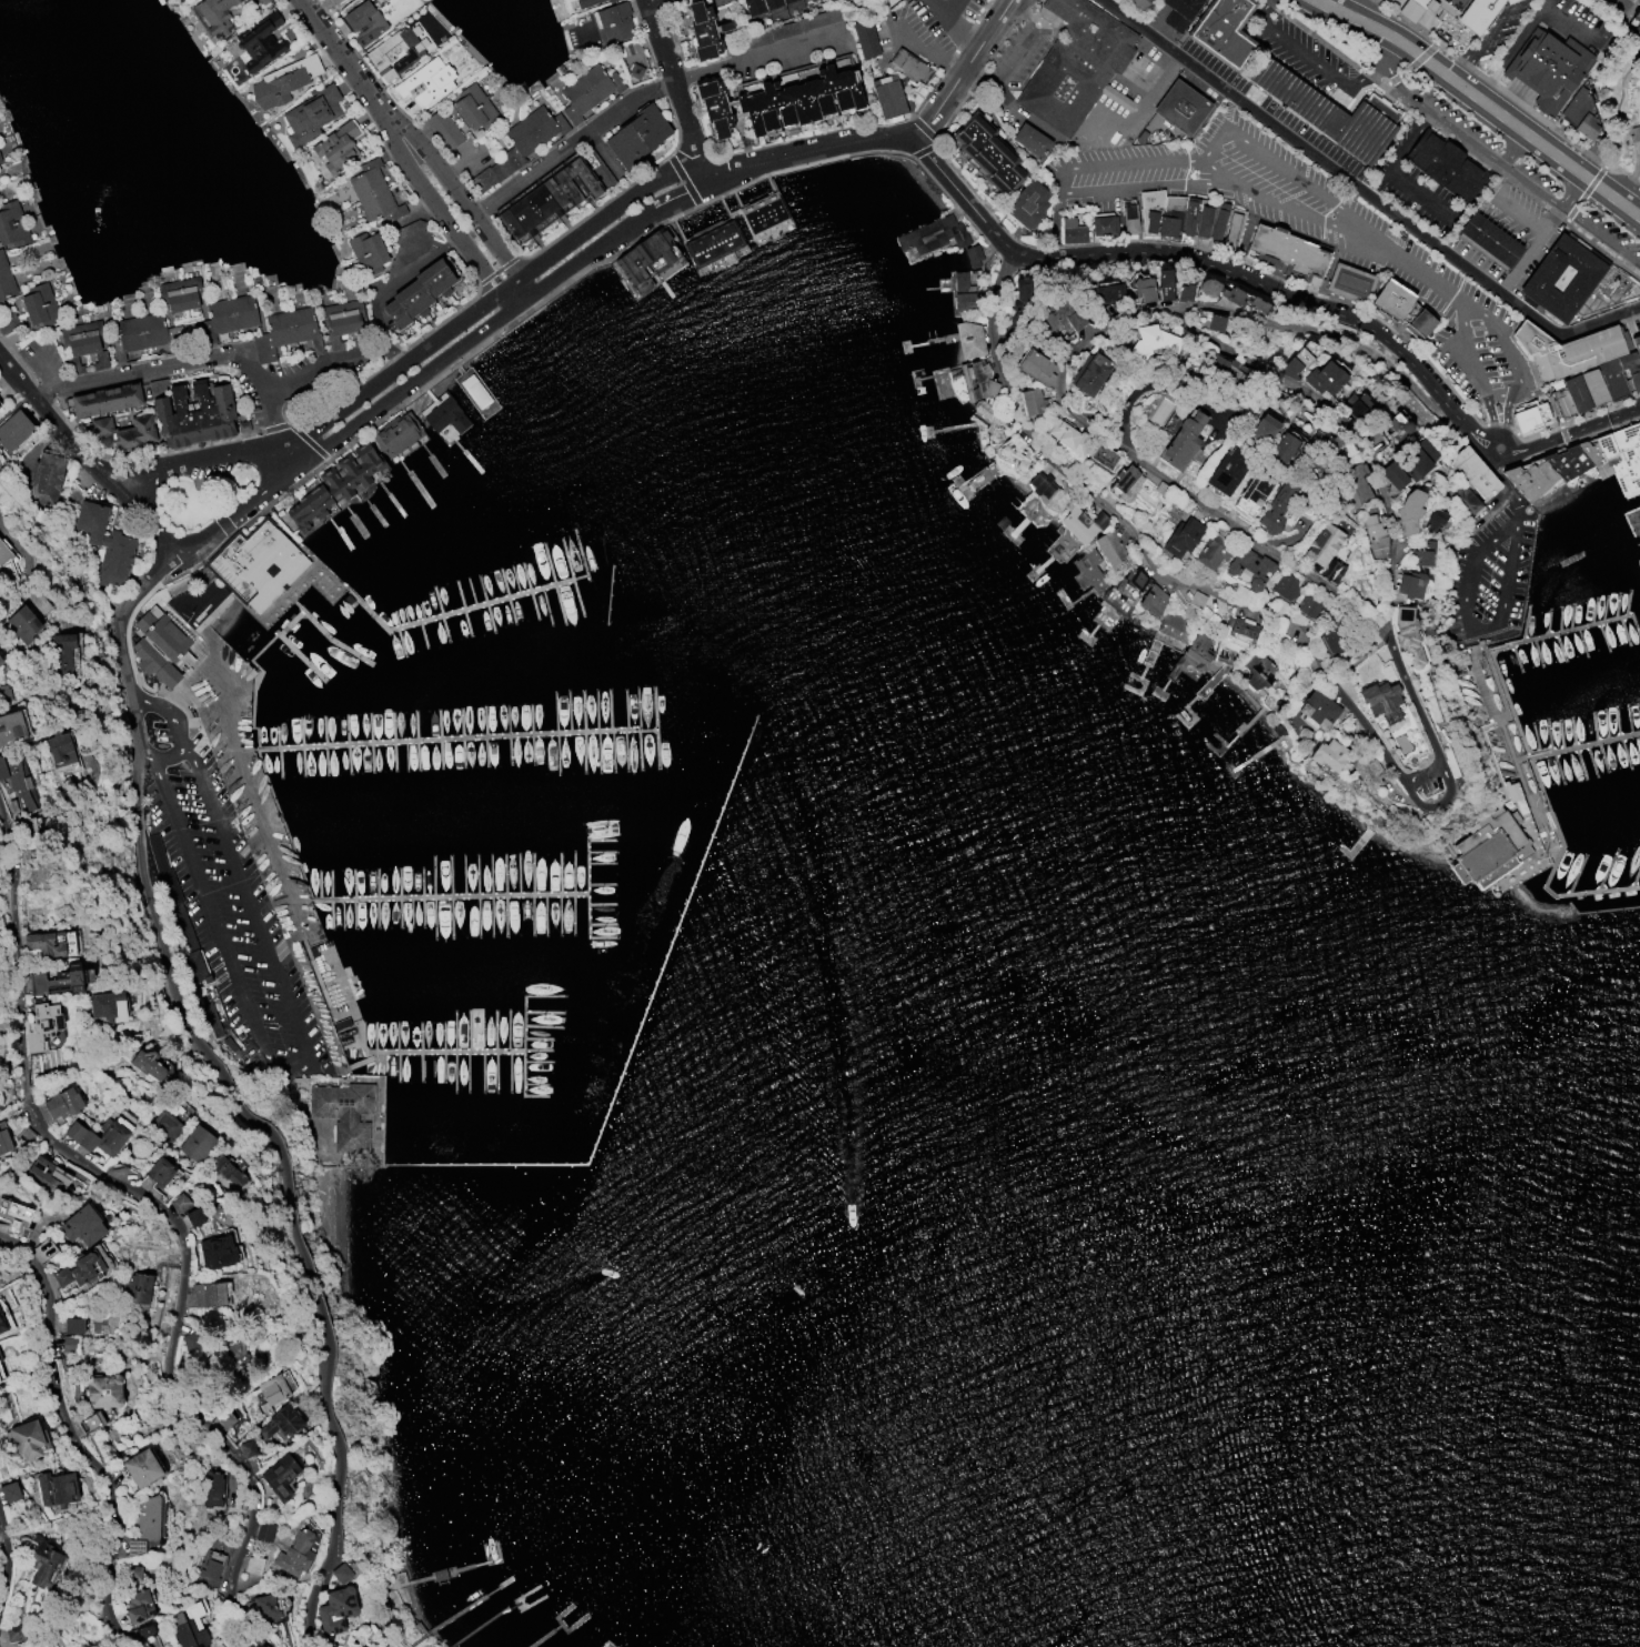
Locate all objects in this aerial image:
building: (607, 0)
building: (262, 1)
building: (334, 1)
road: (1508, 2)
building: (584, 3)
road: (660, 3)
building: (1136, 4)
building: (761, 6)
road: (1618, 6)
road: (947, 7)
building: (1463, 11)
building: (1179, 12)
road: (1342, 12)
building: (214, 16)
building: (1637, 20)
building: (364, 21)
building: (612, 23)
road: (953, 24)
road: (1526, 24)
building: (704, 31)
building: (1223, 31)
building: (1639, 37)
building: (864, 39)
road: (1478, 41)
building: (259, 42)
road: (1378, 44)
road: (1411, 50)
building: (393, 53)
road: (920, 53)
road: (748, 57)
road: (1012, 59)
road: (1245, 60)
road: (1307, 60)
railway: (1552, 60)
road: (348, 62)
building: (1074, 64)
building: (907, 67)
building: (1547, 68)
building: (634, 71)
building: (283, 80)
building: (425, 82)
road: (675, 87)
road: (1462, 88)
building: (586, 91)
building: (888, 98)
building: (799, 100)
building: (714, 107)
road: (1138, 107)
building: (474, 108)
building: (1180, 108)
road: (1228, 111)
building: (1321, 111)
building: (311, 113)
building: (1580, 113)
road: (1499, 114)
road: (1437, 119)
building: (443, 130)
building: (636, 137)
road: (893, 139)
building: (1030, 140)
road: (570, 142)
road: (1214, 144)
building: (519, 145)
road: (1512, 149)
building: (333, 150)
building: (988, 153)
road: (1552, 153)
road: (1613, 158)
building: (0, 160)
building: (0, 161)
building: (1445, 165)
road: (1507, 170)
road: (1387, 171)
road: (1062, 185)
road: (1536, 190)
road: (1570, 191)
building: (372, 192)
building: (556, 192)
road: (959, 194)
road: (1364, 194)
road: (1610, 195)
road: (459, 197)
building: (1026, 204)
building: (1149, 210)
road: (437, 214)
building: (763, 215)
building: (1170, 215)
building: (1188, 217)
building: (1128, 219)
building: (1203, 221)
building: (1218, 221)
building: (11, 224)
building: (1104, 225)
building: (534, 229)
building: (1232, 229)
parking lot: (1308, 230)
road: (1532, 230)
building: (1071, 231)
building: (933, 235)
road: (1599, 237)
building: (1488, 240)
building: (409, 241)
building: (711, 243)
building: (1287, 251)
building: (366, 252)
building: (972, 255)
building: (644, 257)
road: (1397, 260)
building: (1572, 280)
building: (1350, 282)
road: (394, 284)
building: (1164, 284)
road: (1274, 288)
building: (1141, 290)
road: (514, 292)
building: (1107, 292)
building: (1183, 292)
building: (180, 293)
building: (417, 293)
building: (964, 293)
road: (491, 294)
building: (1230, 295)
building: (4, 297)
building: (1391, 299)
building: (39, 304)
building: (231, 313)
building: (1062, 318)
building: (341, 321)
building: (1420, 321)
building: (1214, 323)
building: (141, 331)
building: (285, 332)
building: (968, 340)
building: (1153, 341)
building: (82, 344)
building: (1637, 345)
road: (1505, 347)
road: (201, 360)
road: (333, 361)
road: (441, 361)
building: (1295, 363)
building: (1581, 365)
building: (1035, 366)
road: (1473, 366)
building: (1227, 370)
road: (44, 371)
pier: (461, 373)
building: (1089, 373)
building: (1324, 378)
building: (976, 379)
building: (476, 394)
building: (105, 399)
building: (1030, 401)
building: (1356, 404)
building: (0, 406)
building: (191, 413)
road: (1503, 413)
building: (443, 414)
building: (1528, 414)
road: (1070, 419)
road: (54, 421)
building: (1396, 428)
building: (1261, 429)
building: (14, 430)
road: (1572, 430)
road: (1347, 431)
building: (123, 432)
building: (396, 435)
building: (1068, 439)
road: (1499, 439)
building: (1183, 441)
building: (1321, 443)
building: (1284, 445)
building: (1103, 456)
road: (193, 460)
building: (1417, 460)
building: (1582, 464)
building: (1227, 470)
building: (1472, 471)
building: (1392, 475)
building: (44, 479)
pier: (1628, 480)
building: (1124, 482)
building: (1352, 484)
building: (334, 485)
building: (1046, 492)
building: (1250, 494)
building: (1463, 499)
building: (1276, 509)
building: (1408, 510)
road: (141, 519)
pier: (1632, 520)
building: (1437, 521)
building: (1081, 524)
building: (1181, 536)
building: (1372, 536)
pier: (1639, 538)
road: (1491, 541)
building: (103, 543)
building: (1321, 544)
building: (1109, 549)
building: (1213, 551)
building: (1422, 554)
building: (7, 562)
building: (255, 563)
building: (1248, 568)
building: (1090, 571)
road: (1164, 575)
parking lot: (1492, 579)
building: (1409, 584)
building: (1284, 585)
road: (1502, 588)
building: (1124, 590)
building: (1151, 599)
building: (1196, 600)
building: (1309, 606)
pier: (427, 621)
building: (22, 624)
pier: (313, 624)
building: (1240, 629)
pier: (1577, 629)
building: (1407, 635)
building: (1332, 642)
pier: (292, 650)
building: (1195, 652)
building: (64, 654)
building: (1226, 659)
building: (1, 661)
building: (1257, 671)
building: (1379, 701)
building: (1316, 711)
building: (11, 727)
road: (175, 730)
pier: (454, 742)
pier: (1584, 744)
building: (59, 750)
building: (1327, 754)
building: (1367, 771)
building: (16, 785)
building: (30, 833)
building: (1489, 850)
pier: (1578, 894)
pier: (449, 897)
parking lot: (231, 910)
pier: (1573, 911)
building: (51, 944)
building: (60, 980)
building: (108, 1006)
building: (42, 1025)
pier: (638, 1038)
pier: (526, 1046)
pier: (452, 1054)
building: (147, 1064)
road: (293, 1066)
road: (228, 1095)
building: (62, 1103)
building: (344, 1114)
building: (163, 1125)
building: (98, 1137)
building: (4, 1142)
building: (197, 1144)
building: (159, 1172)
building: (225, 1172)
building: (44, 1174)
building: (180, 1202)
road: (160, 1217)
building: (194, 1217)
building: (16, 1219)
building: (82, 1226)
building: (218, 1252)
building: (81, 1271)
building: (135, 1289)
building: (209, 1294)
building: (2, 1324)
building: (73, 1326)
building: (69, 1343)
building: (190, 1343)
building: (231, 1349)
building: (0, 1359)
building: (1, 1376)
building: (104, 1392)
building: (271, 1392)
building: (224, 1419)
building: (92, 1423)
building: (281, 1424)
building: (27, 1437)
road: (70, 1443)
building: (246, 1449)
building: (142, 1468)
building: (280, 1476)
building: (8, 1488)
building: (212, 1489)
building: (58, 1490)
building: (145, 1524)
building: (264, 1531)
building: (295, 1554)
building: (43, 1563)
road: (7, 1570)
building: (209, 1570)
building: (133, 1573)
building: (341, 1574)
building: (137, 1606)
building: (265, 1608)
building: (336, 1610)
building: (144, 1631)
building: (185, 1633)
building: (13, 1634)

